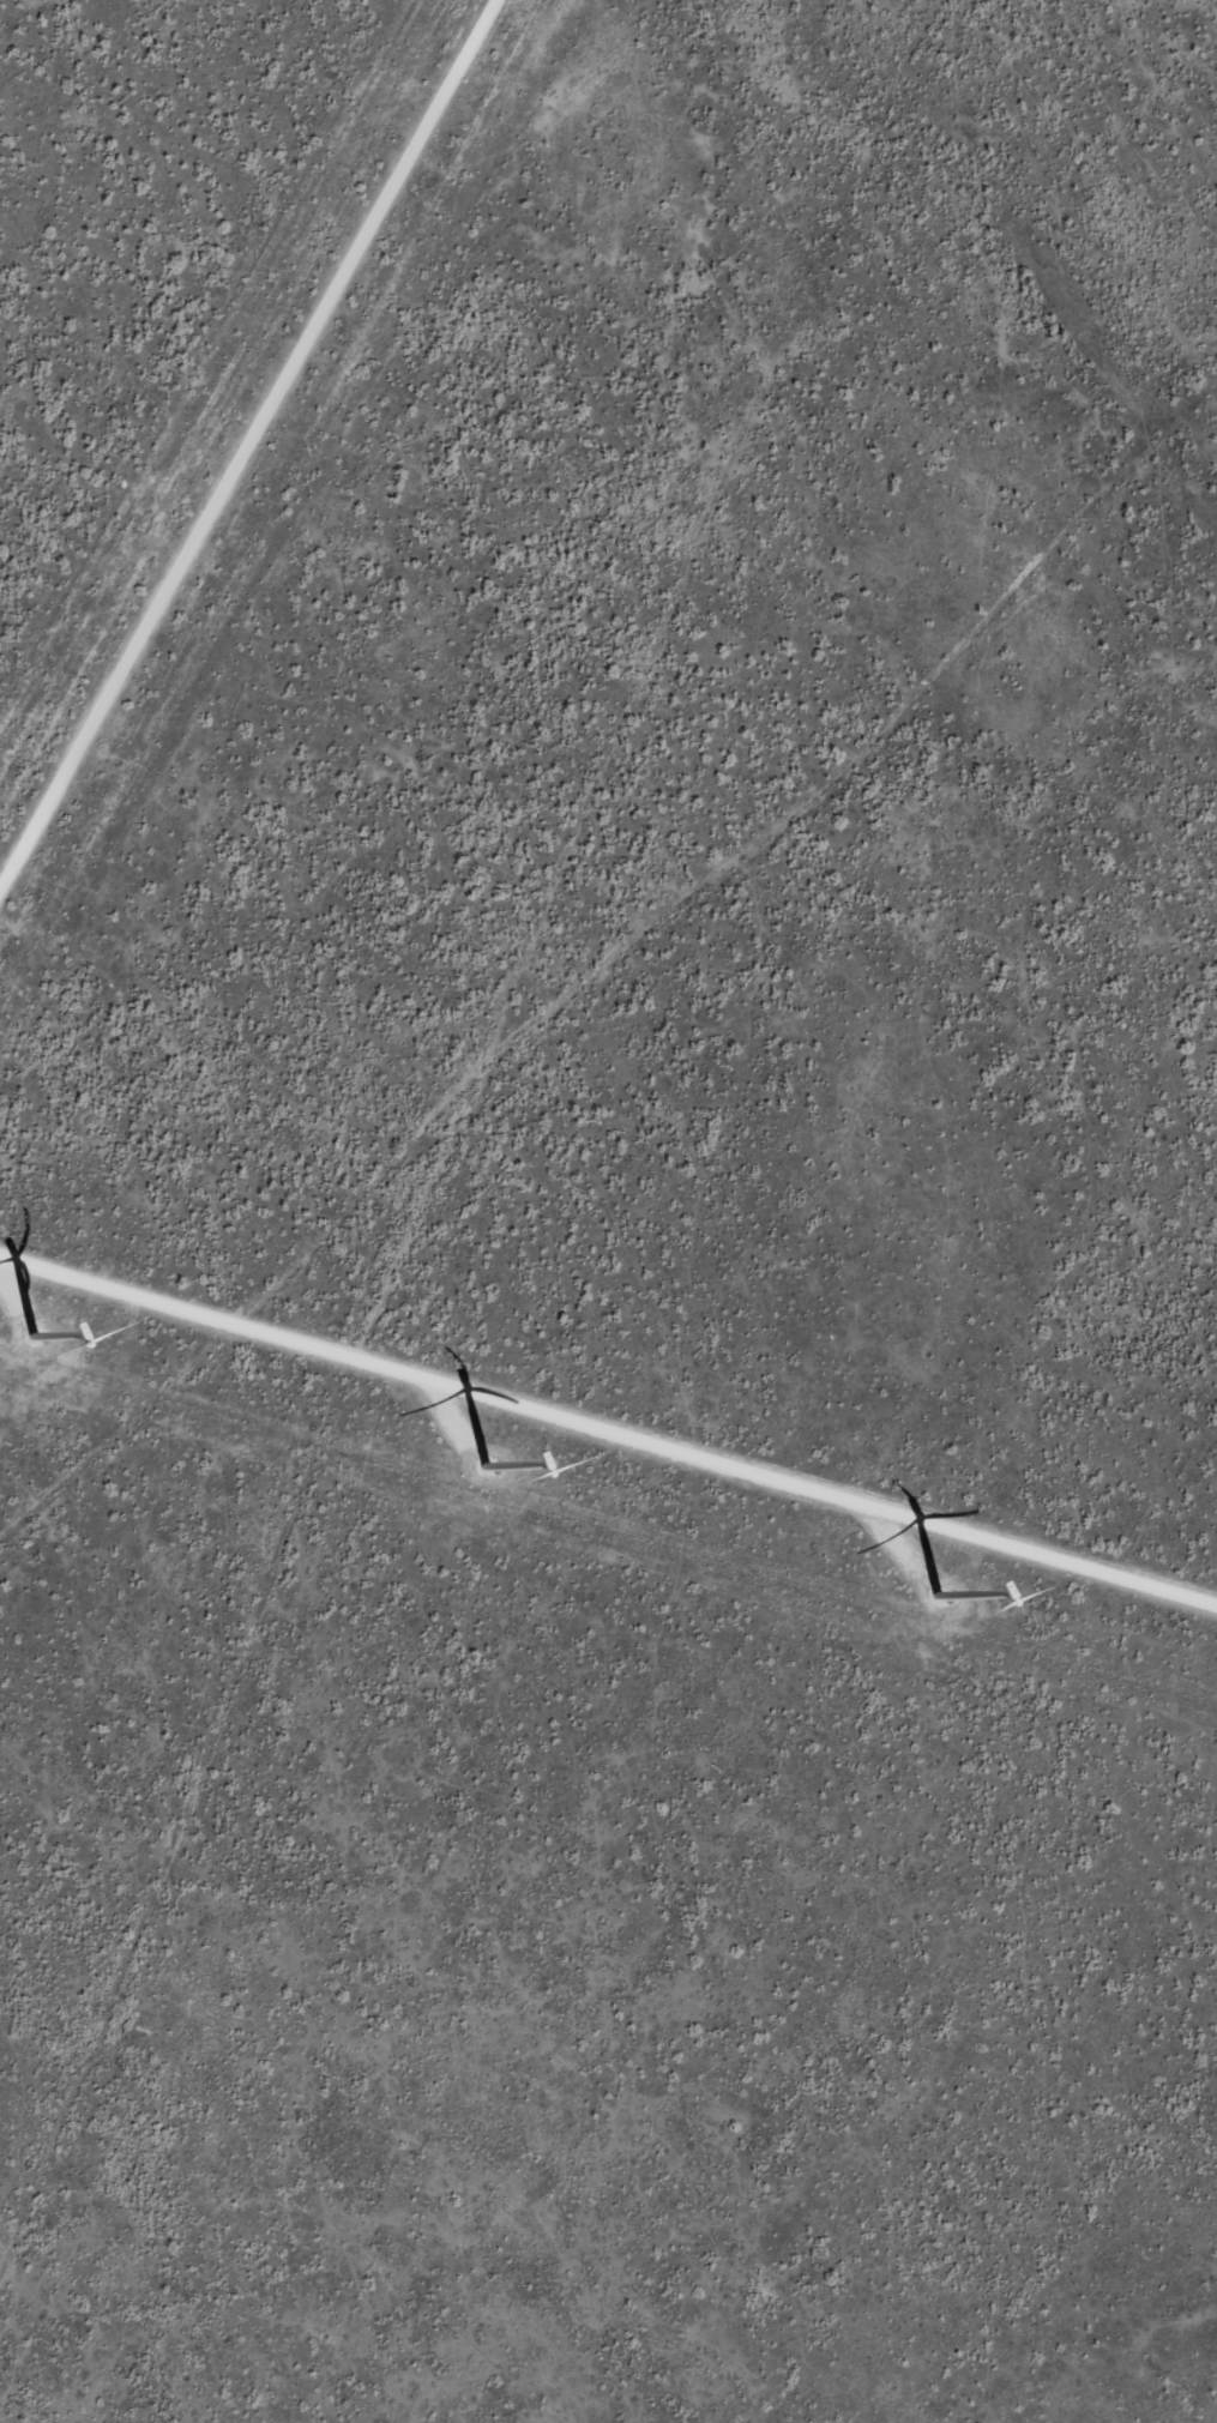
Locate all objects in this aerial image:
road: (608, 1003)
wind turbine: (7, 1327)
wind turbine: (433, 1443)
wind turbine: (918, 1595)

